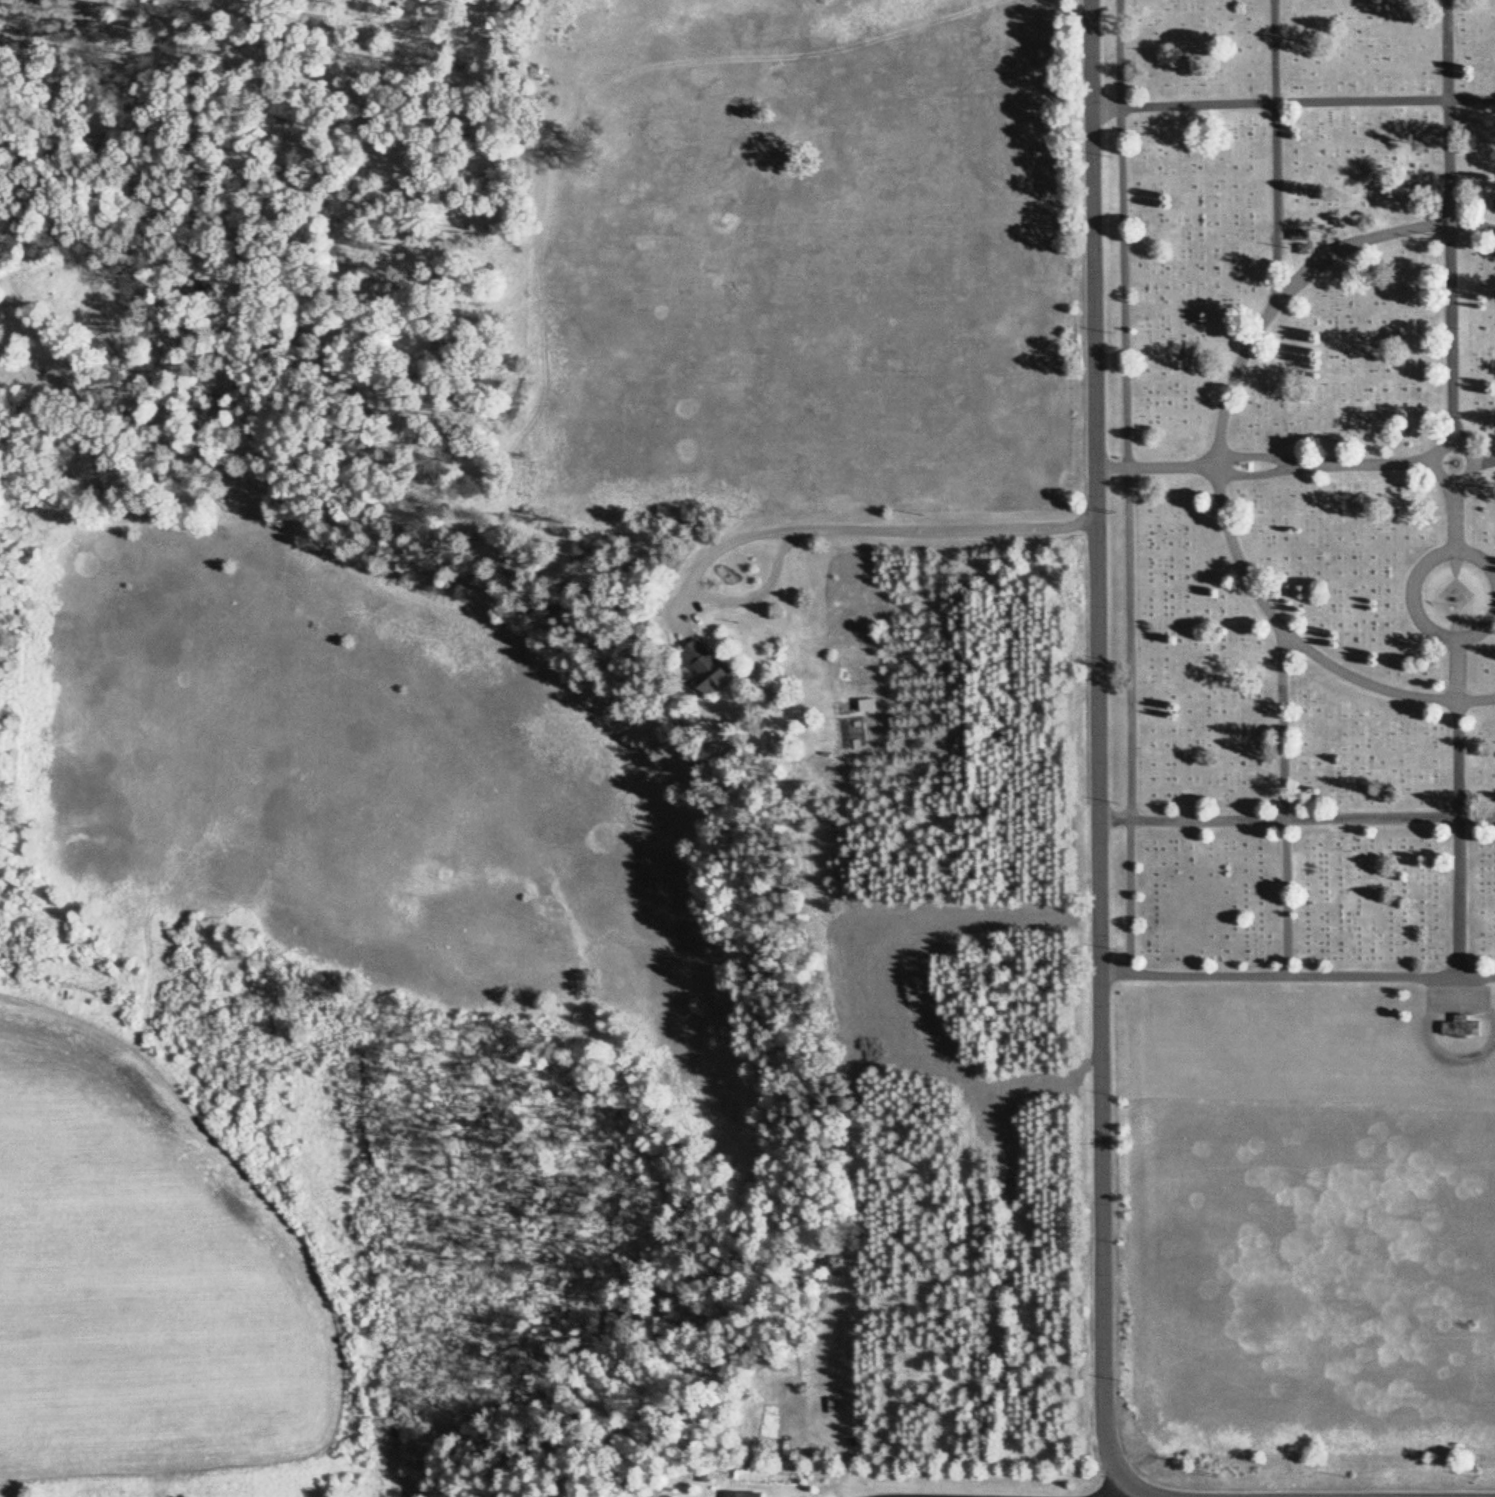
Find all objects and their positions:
road: (1291, 104)
road: (1274, 147)
building: (1301, 241)
road: (1217, 463)
road: (1307, 465)
road: (1126, 487)
road: (1452, 487)
road: (1454, 513)
road: (860, 532)
road: (1478, 560)
road: (760, 597)
road: (1479, 633)
building: (709, 668)
park: (1296, 743)
road: (1097, 744)
road: (1285, 805)
road: (1296, 817)
road: (1296, 977)
building: (1463, 1029)
road: (1042, 1492)
road: (1129, 1492)
building: (747, 1495)

